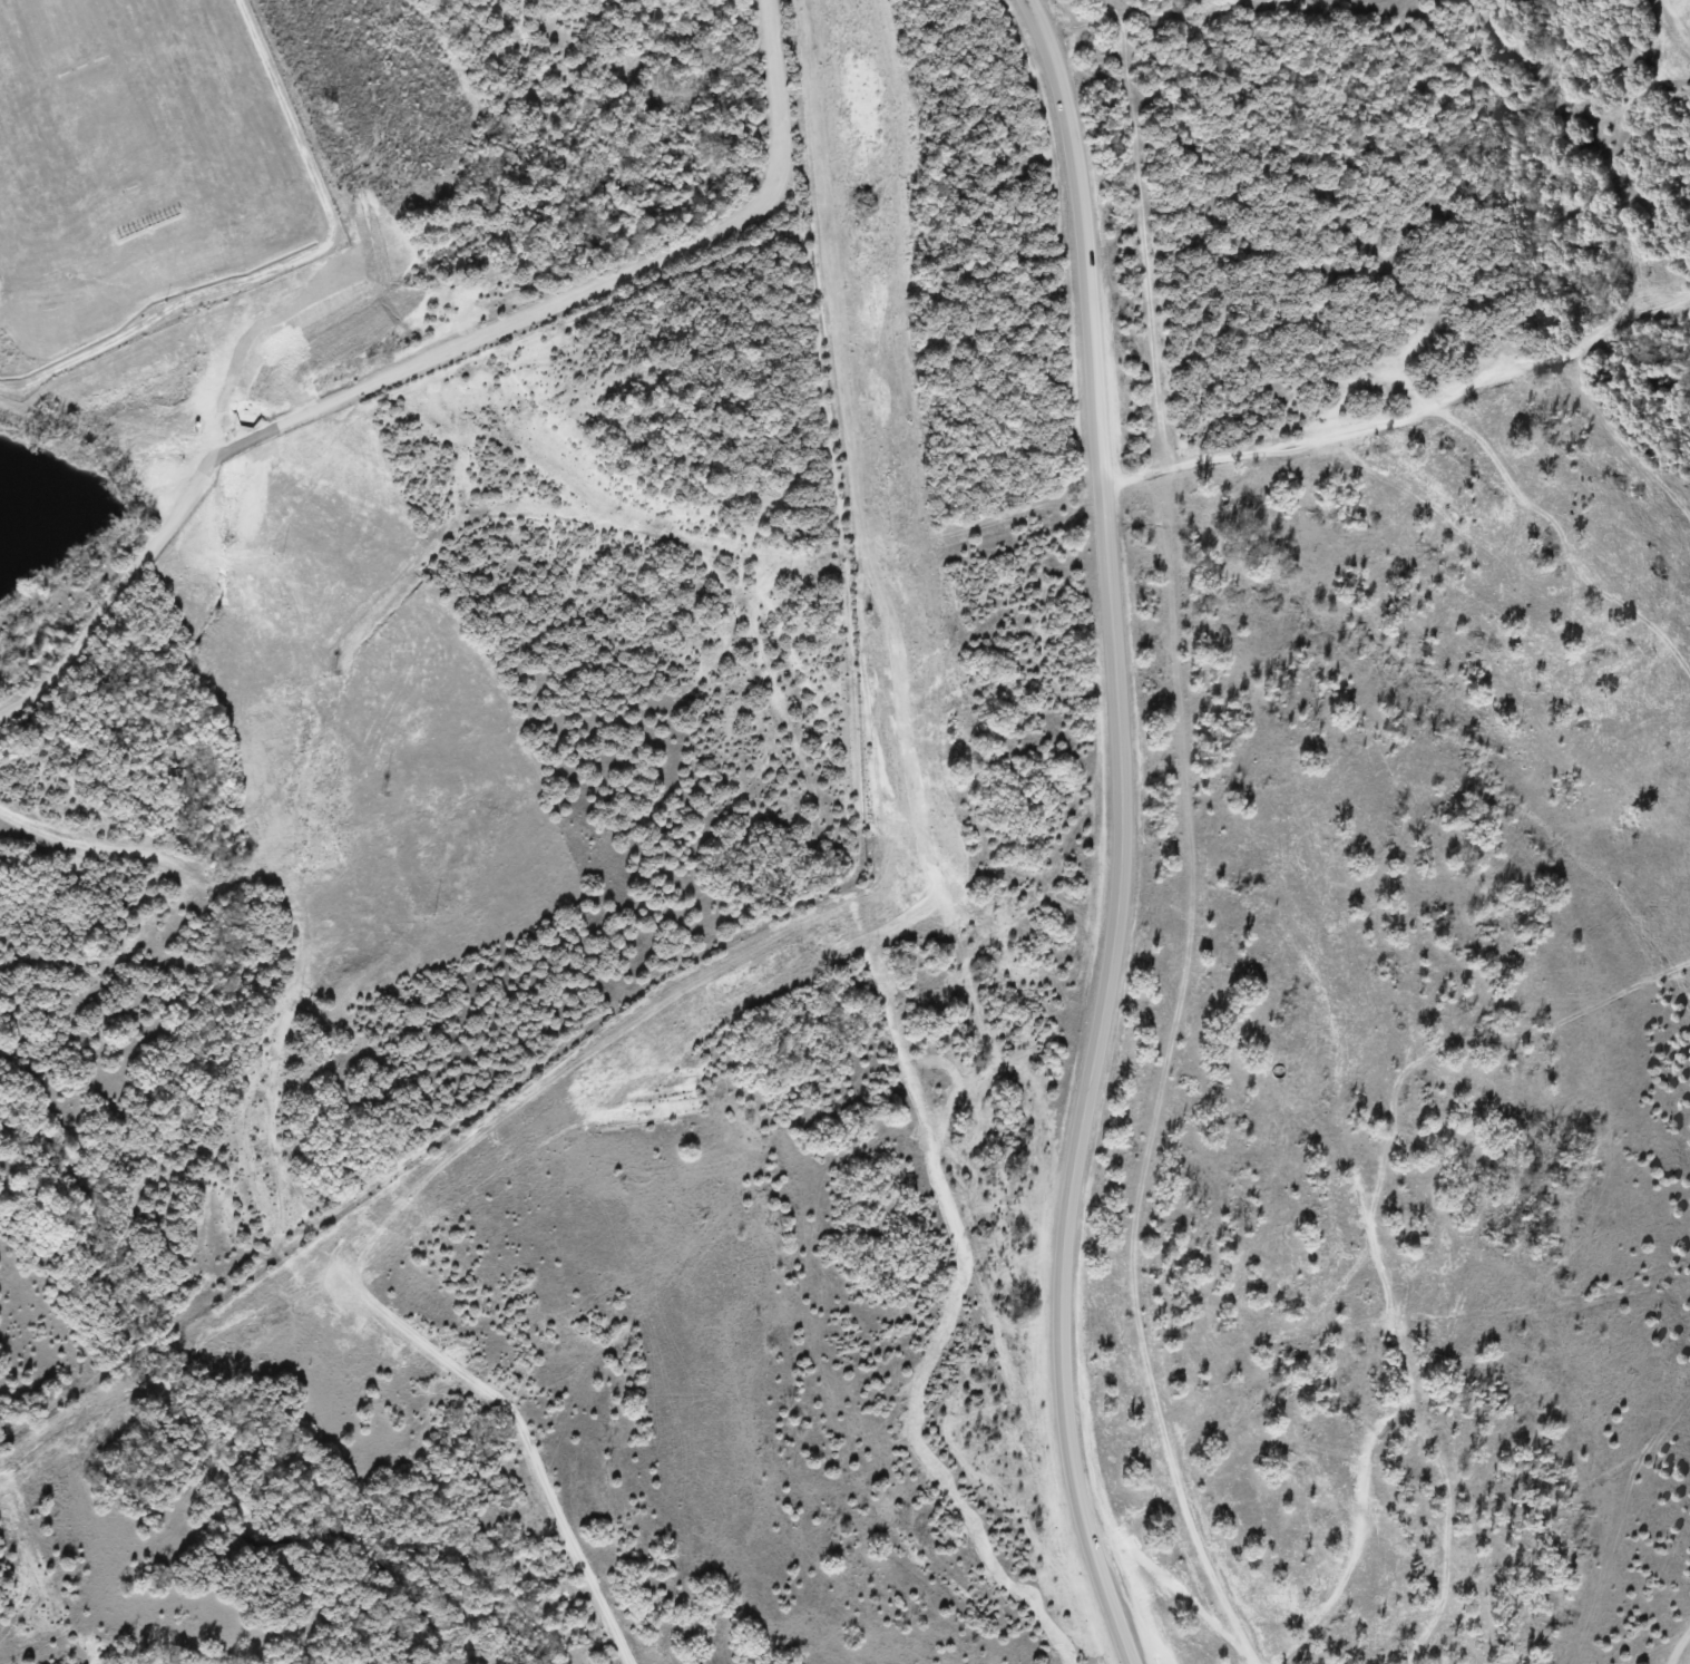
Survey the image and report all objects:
road: (775, 96)
airport: (140, 174)
road: (284, 264)
road: (341, 397)
road: (1118, 713)
road: (135, 1350)
road: (522, 1432)
road: (1097, 1549)

